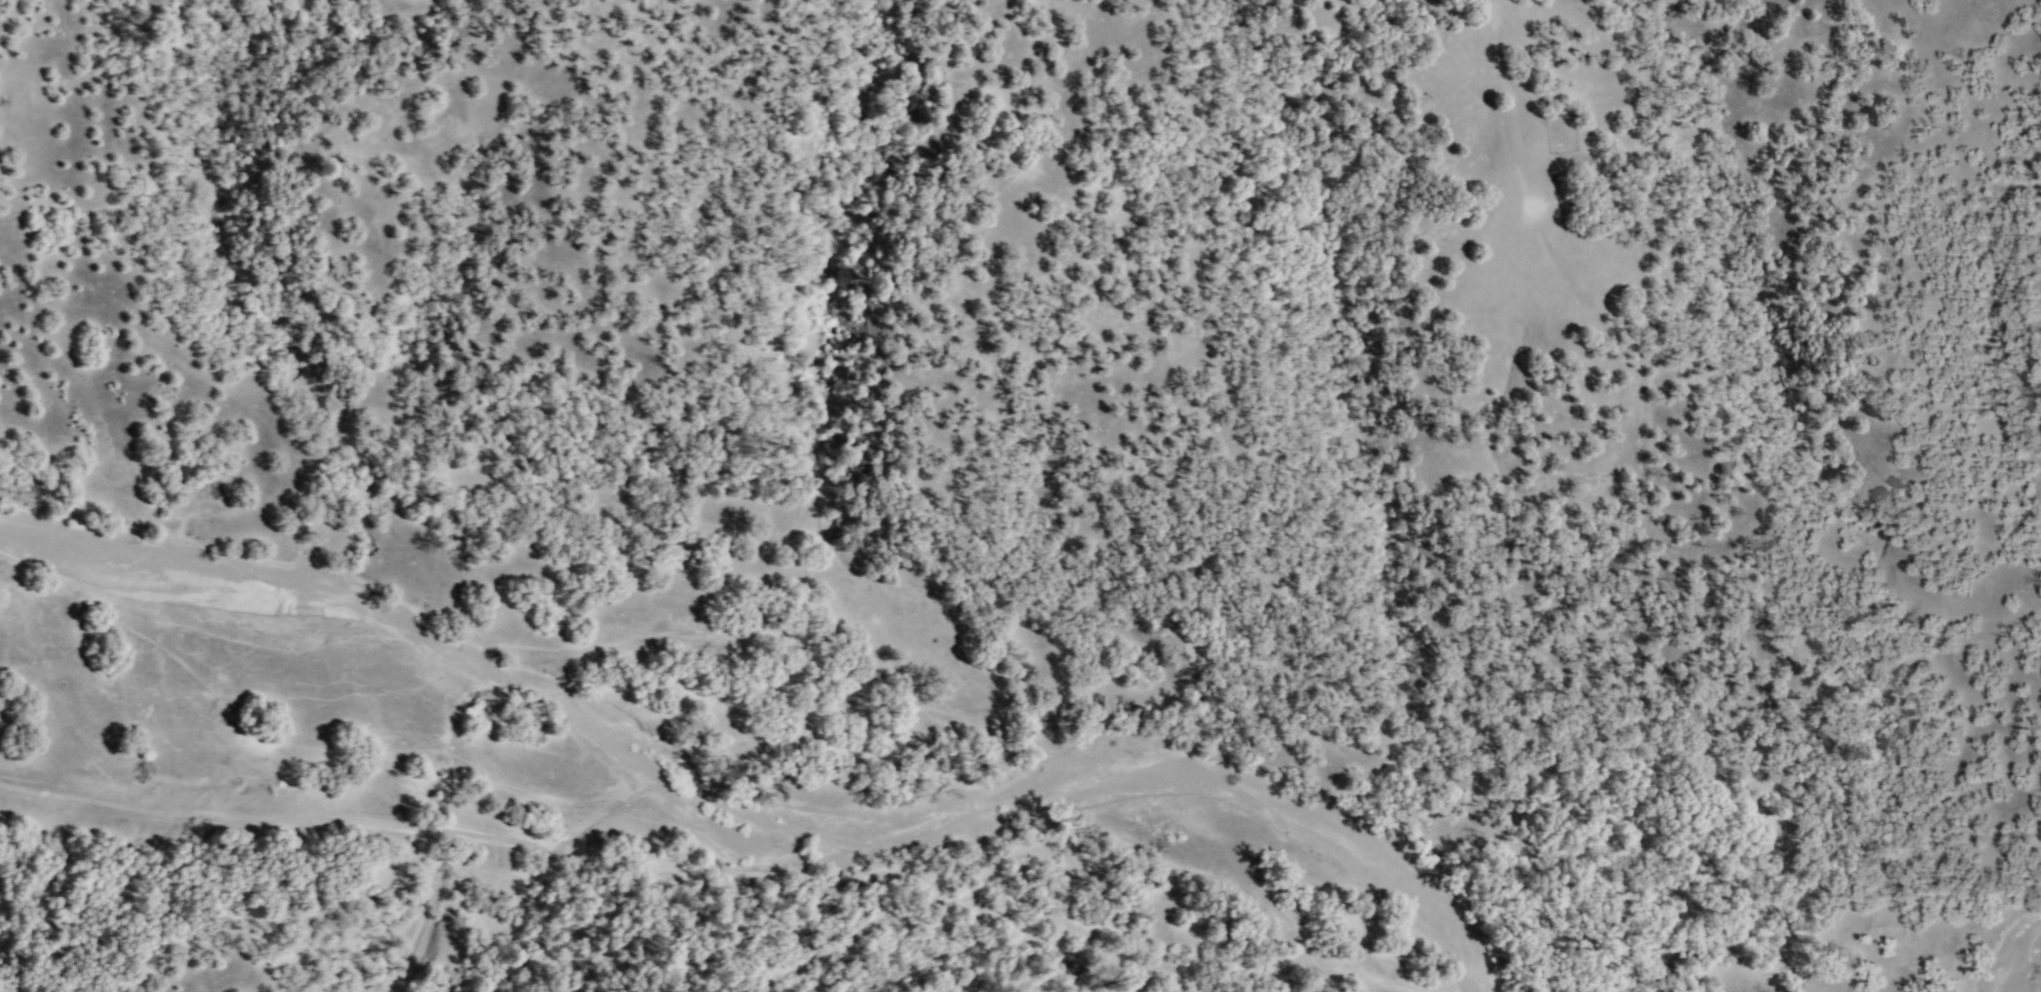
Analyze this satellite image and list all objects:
river: (753, 841)
road: (644, 870)
river: (2025, 982)

